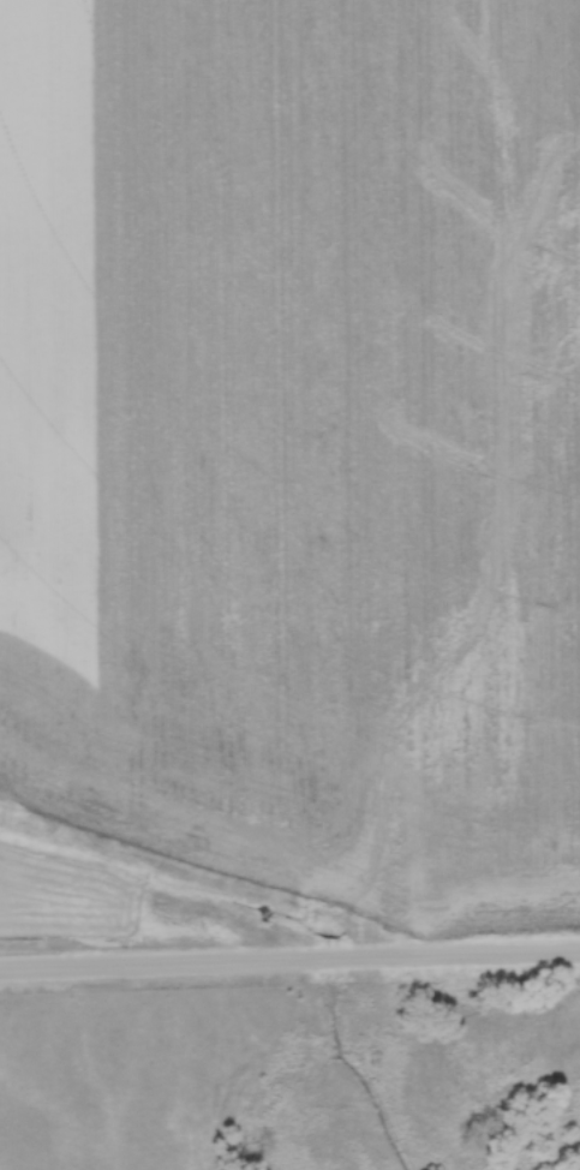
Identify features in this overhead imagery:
road: (289, 968)

